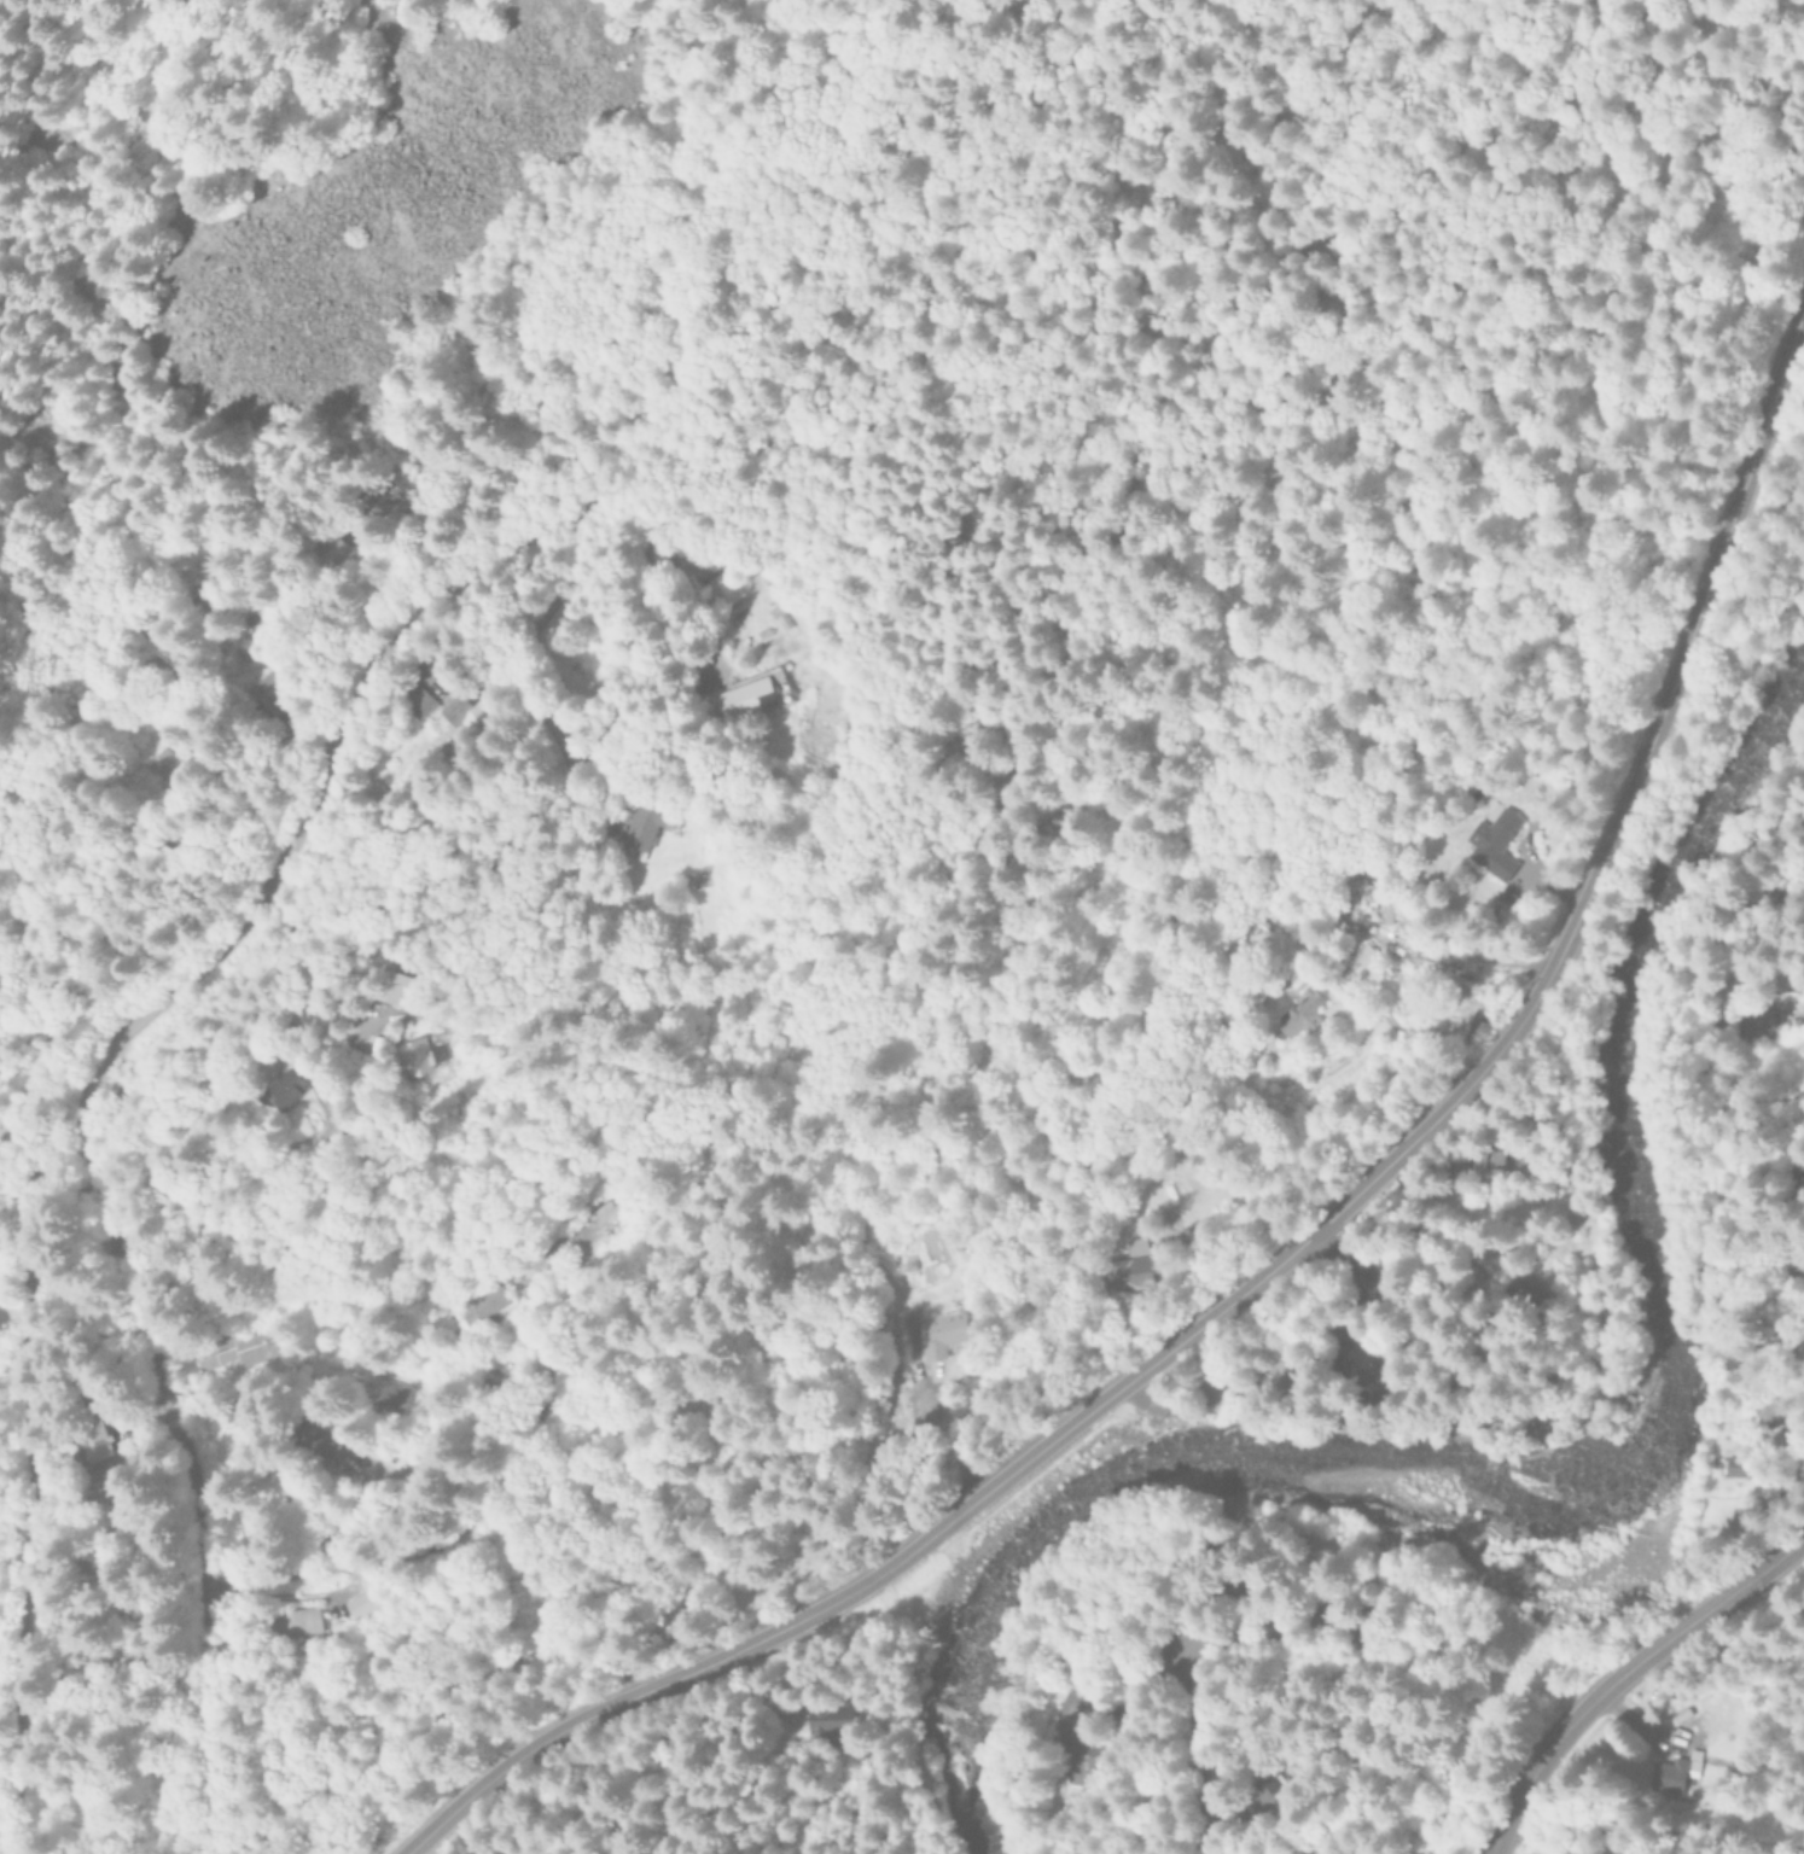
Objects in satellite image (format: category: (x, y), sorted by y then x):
building: (389, 497)
building: (718, 590)
building: (258, 692)
building: (744, 698)
building: (409, 702)
building: (449, 711)
building: (149, 764)
building: (642, 824)
building: (1492, 843)
building: (1366, 955)
building: (1775, 978)
building: (390, 989)
building: (1305, 1009)
building: (1748, 1019)
building: (417, 1054)
building: (278, 1088)
road: (75, 1100)
building: (1484, 1164)
building: (1793, 1182)
road: (1293, 1244)
road: (1332, 1253)
building: (1122, 1269)
building: (1523, 1279)
building: (481, 1305)
building: (932, 1334)
building: (1769, 1340)
building: (1800, 1343)
building: (233, 1351)
building: (1366, 1360)
building: (1285, 1374)
building: (389, 1397)
building: (232, 1409)
building: (85, 1440)
building: (1730, 1462)
river: (1599, 1499)
road: (17, 1516)
building: (356, 1604)
building: (1329, 1611)
building: (1243, 1616)
building: (295, 1621)
building: (1521, 1644)
road: (1630, 1679)
building: (825, 1720)
road: (1182, 1753)
building: (1076, 1763)
building: (1657, 1776)
building: (1244, 1806)
building: (1398, 1853)

